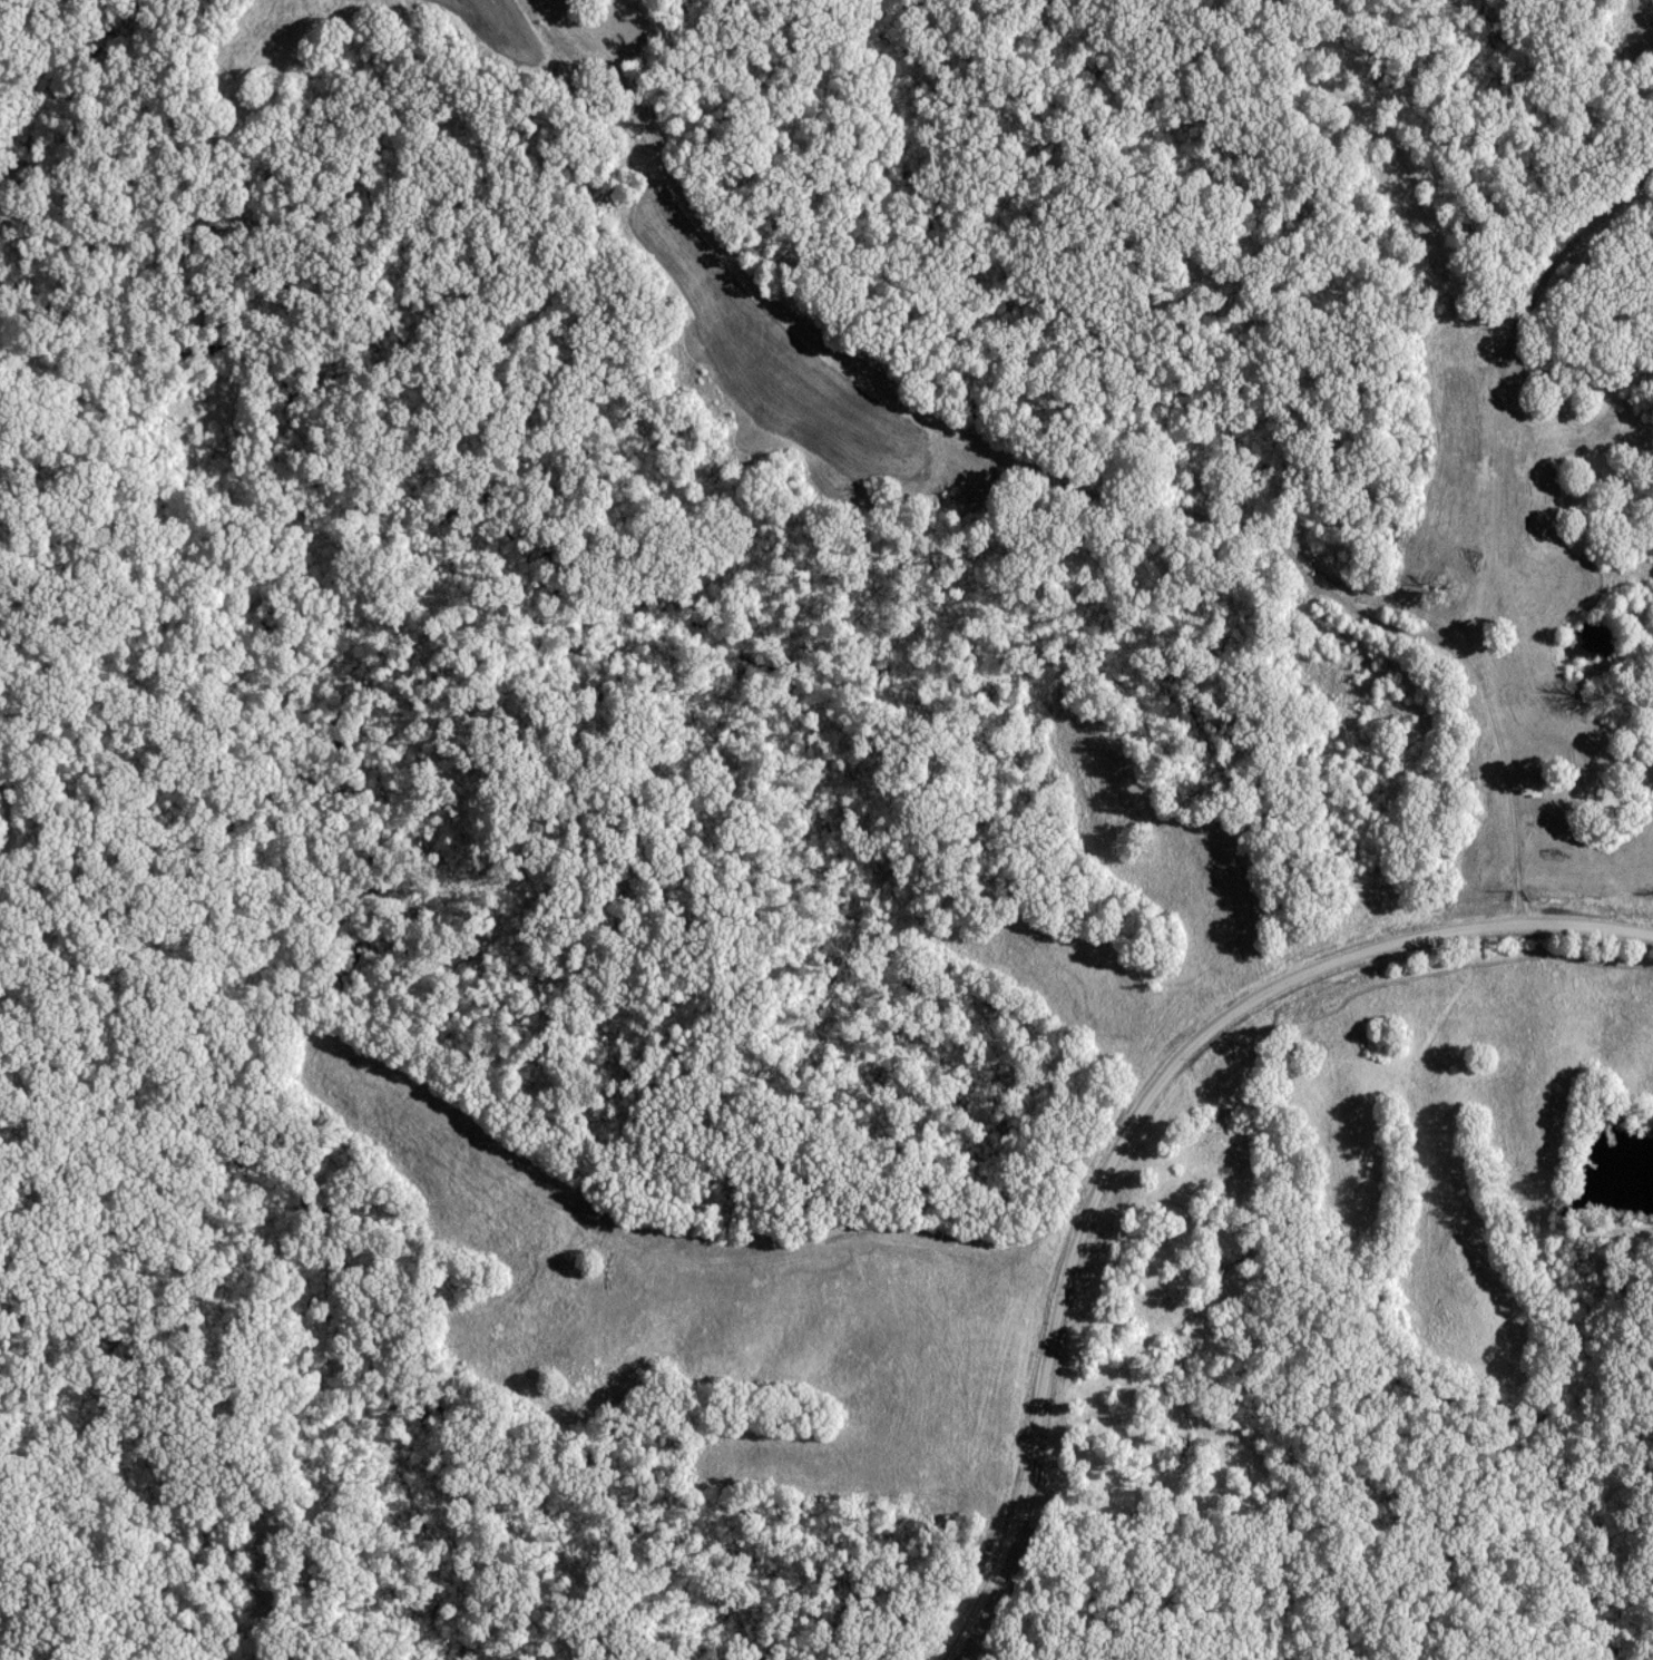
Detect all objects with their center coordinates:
road: (1131, 1110)

